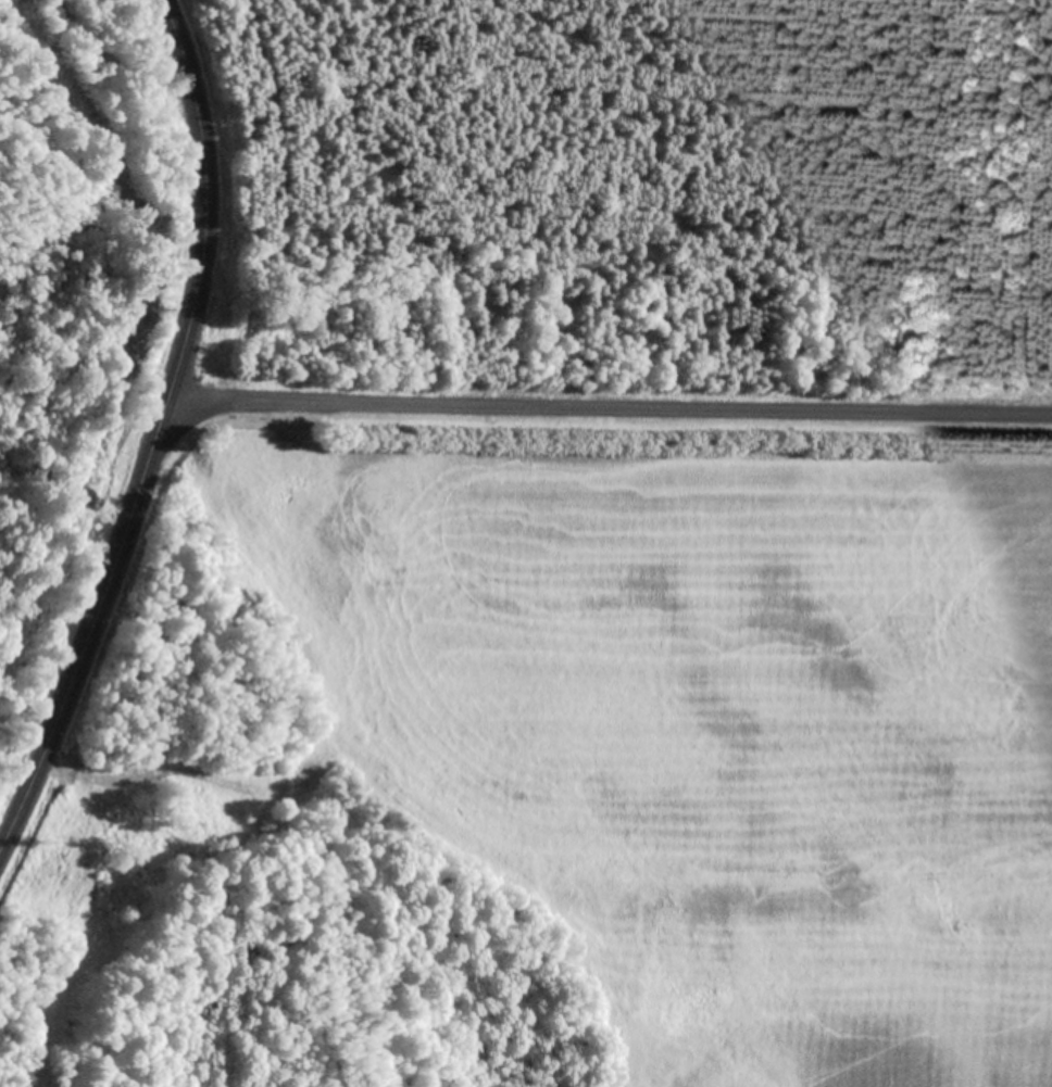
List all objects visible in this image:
road: (613, 406)
road: (162, 431)

